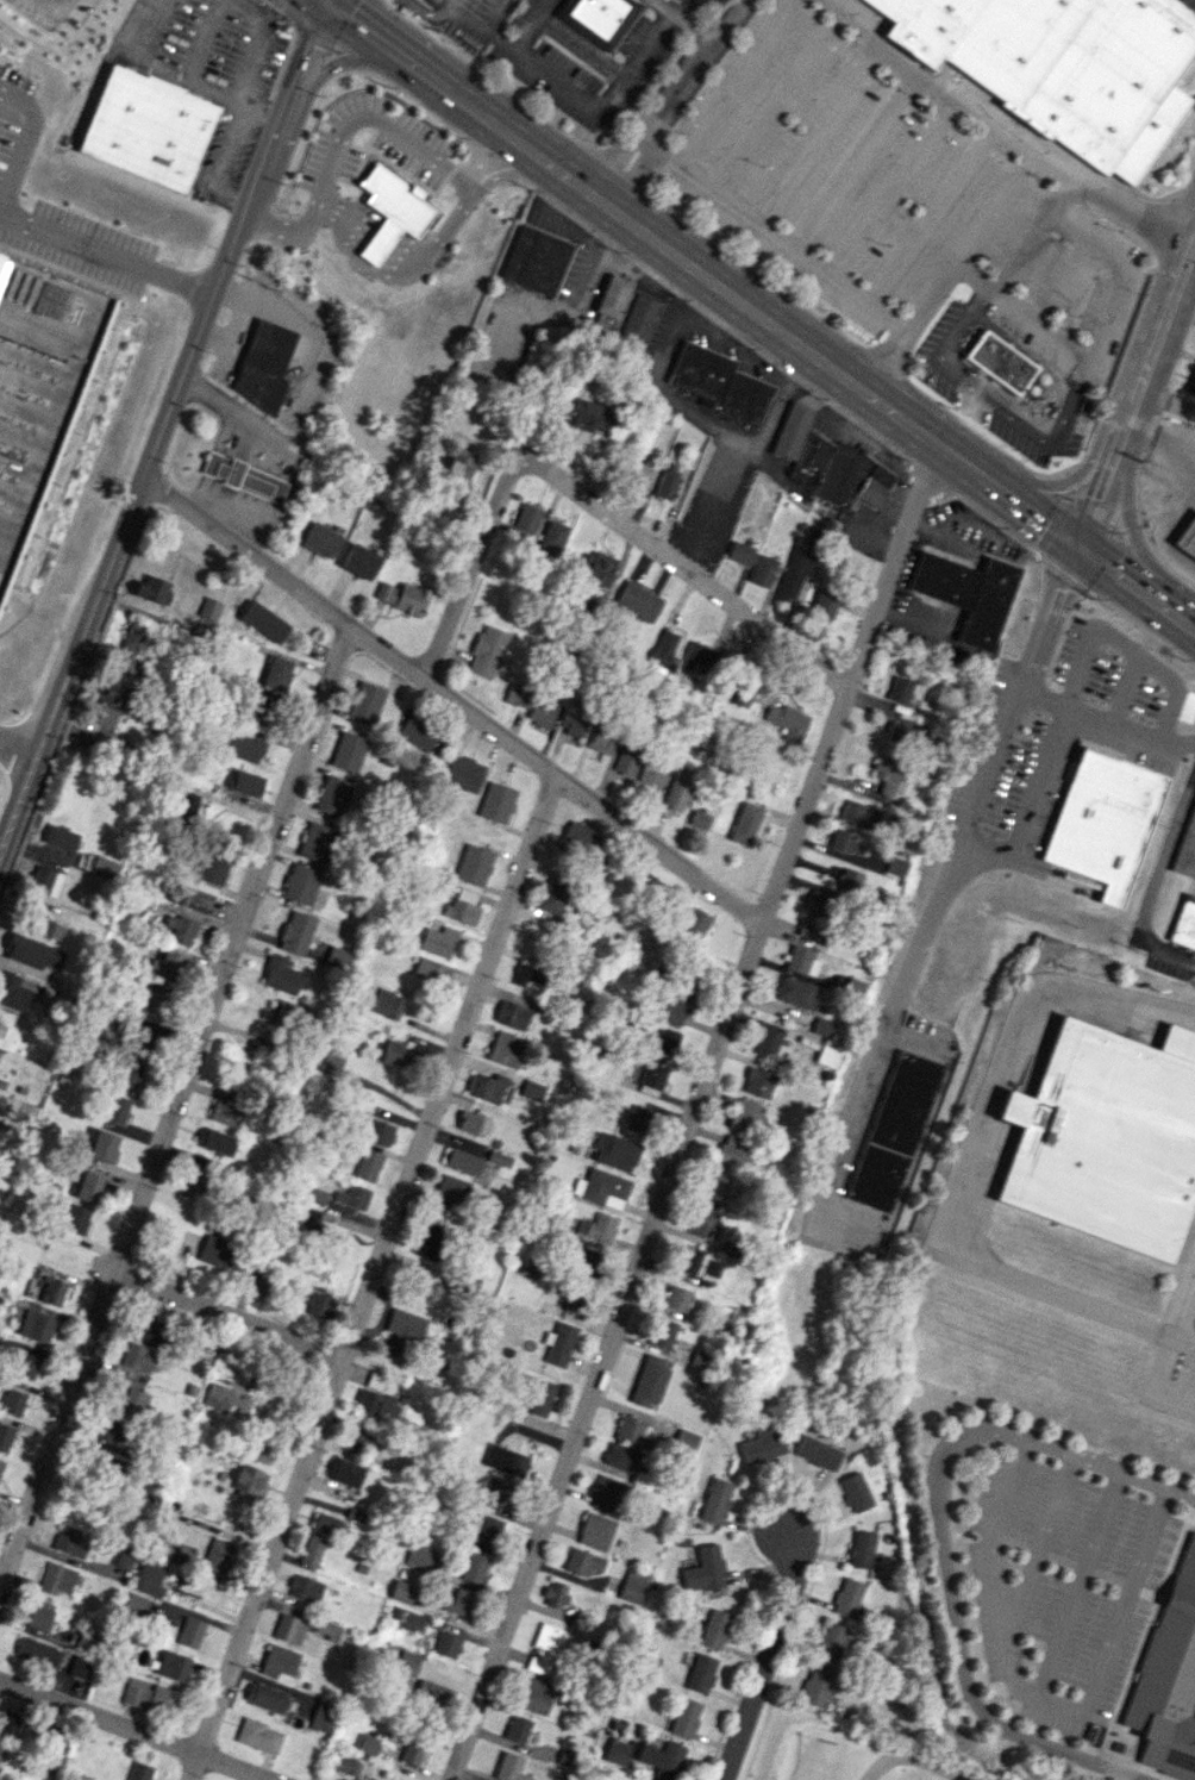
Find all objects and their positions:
road: (324, 1)
road: (50, 4)
road: (684, 10)
road: (498, 13)
road: (430, 14)
building: (599, 17)
road: (534, 23)
road: (680, 23)
road: (387, 30)
parking lot: (576, 45)
road: (257, 46)
road: (581, 46)
road: (337, 64)
road: (158, 65)
building: (1064, 65)
road: (734, 85)
road: (571, 86)
road: (956, 95)
road: (671, 101)
road: (777, 102)
road: (258, 113)
building: (149, 129)
road: (817, 131)
road: (340, 133)
road: (20, 140)
road: (856, 162)
road: (218, 165)
road: (478, 181)
road: (893, 188)
parking lot: (895, 196)
parking lot: (56, 205)
building: (390, 210)
road: (342, 216)
road: (930, 216)
road: (1137, 217)
road: (440, 235)
road: (771, 238)
road: (645, 239)
road: (377, 242)
road: (968, 244)
road: (1019, 245)
building: (1, 258)
road: (106, 258)
building: (537, 260)
building: (1, 264)
road: (1059, 280)
building: (611, 302)
building: (639, 319)
road: (1157, 335)
road: (897, 337)
road: (1090, 351)
building: (1000, 362)
building: (264, 364)
parking lot: (947, 379)
building: (1191, 382)
building: (718, 383)
road: (1165, 399)
road: (1053, 405)
road: (995, 407)
building: (588, 416)
road: (165, 423)
building: (790, 432)
road: (1137, 439)
road: (283, 450)
building: (811, 460)
building: (459, 466)
building: (638, 474)
building: (243, 476)
building: (852, 479)
road: (1055, 482)
building: (665, 485)
road: (1146, 492)
road: (1096, 494)
road: (1024, 514)
building: (526, 517)
building: (552, 535)
building: (1187, 538)
building: (319, 539)
traffic signals: (1075, 551)
building: (739, 552)
building: (359, 561)
building: (596, 567)
road: (465, 570)
road: (686, 570)
building: (762, 570)
building: (795, 573)
building: (150, 589)
building: (966, 593)
road: (1134, 595)
building: (401, 597)
building: (637, 600)
building: (824, 605)
building: (208, 608)
building: (263, 622)
building: (130, 648)
building: (662, 650)
building: (486, 651)
building: (694, 656)
road: (1024, 663)
building: (276, 673)
building: (899, 689)
building: (744, 691)
road: (1070, 693)
building: (113, 694)
building: (518, 695)
road: (452, 699)
building: (365, 701)
building: (261, 708)
building: (542, 711)
building: (787, 720)
building: (573, 723)
building: (417, 733)
building: (903, 733)
road: (1147, 735)
building: (600, 741)
building: (244, 747)
building: (348, 751)
building: (625, 763)
building: (463, 773)
building: (889, 775)
building: (651, 776)
building: (246, 783)
building: (678, 788)
building: (332, 794)
building: (496, 801)
building: (186, 805)
building: (858, 813)
building: (700, 818)
building: (1103, 820)
building: (746, 823)
building: (577, 833)
building: (60, 837)
building: (314, 841)
building: (845, 842)
building: (1187, 847)
building: (474, 863)
building: (896, 866)
building: (212, 867)
building: (833, 870)
building: (44, 880)
building: (849, 880)
building: (300, 883)
building: (174, 892)
building: (552, 898)
building: (819, 903)
building: (462, 906)
building: (693, 919)
building: (1184, 925)
building: (48, 928)
building: (181, 929)
building: (811, 929)
building: (295, 932)
building: (438, 941)
building: (32, 953)
road: (911, 953)
building: (337, 957)
building: (801, 961)
building: (165, 966)
building: (431, 969)
building: (280, 974)
building: (528, 975)
building: (13, 991)
building: (795, 992)
building: (150, 1001)
building: (387, 1004)
building: (674, 1005)
building: (511, 1014)
building: (287, 1016)
building: (821, 1026)
building: (142, 1037)
building: (665, 1041)
building: (767, 1043)
building: (505, 1049)
building: (399, 1054)
building: (330, 1061)
building: (129, 1073)
building: (651, 1078)
building: (758, 1082)
building: (489, 1087)
building: (532, 1089)
road: (174, 1106)
building: (115, 1108)
building: (226, 1108)
building: (630, 1110)
road: (689, 1113)
building: (745, 1116)
building: (474, 1123)
building: (894, 1130)
building: (377, 1131)
building: (1106, 1137)
building: (215, 1141)
building: (102, 1145)
building: (614, 1151)
building: (733, 1151)
building: (499, 1157)
building: (463, 1161)
building: (368, 1164)
road: (964, 1170)
building: (195, 1185)
building: (717, 1185)
building: (87, 1186)
building: (601, 1188)
building: (449, 1191)
building: (315, 1194)
building: (352, 1197)
building: (75, 1218)
building: (309, 1220)
building: (705, 1223)
building: (601, 1226)
building: (425, 1244)
building: (217, 1250)
building: (688, 1259)
building: (586, 1261)
road: (371, 1278)
building: (469, 1284)
building: (259, 1285)
building: (52, 1291)
building: (676, 1298)
building: (574, 1303)
building: (318, 1304)
road: (227, 1316)
building: (38, 1328)
building: (148, 1329)
building: (402, 1332)
building: (662, 1332)
building: (558, 1343)
building: (137, 1357)
building: (25, 1364)
building: (375, 1380)
building: (649, 1380)
building: (540, 1395)
building: (12, 1401)
building: (132, 1401)
building: (376, 1405)
building: (110, 1430)
building: (632, 1431)
building: (5, 1436)
building: (686, 1439)
building: (356, 1443)
building: (762, 1443)
building: (262, 1450)
building: (818, 1453)
building: (620, 1457)
building: (505, 1460)
road: (1112, 1463)
building: (344, 1470)
building: (249, 1480)
building: (856, 1492)
building: (500, 1493)
building: (607, 1493)
building: (715, 1500)
building: (324, 1523)
building: (484, 1530)
building: (595, 1531)
building: (68, 1541)
building: (863, 1548)
building: (312, 1550)
building: (419, 1555)
building: (217, 1556)
building: (124, 1557)
building: (582, 1562)
building: (474, 1567)
building: (705, 1569)
building: (56, 1578)
building: (148, 1578)
building: (632, 1586)
building: (304, 1588)
building: (402, 1591)
building: (553, 1594)
building: (850, 1597)
building: (459, 1601)
building: (136, 1604)
building: (37, 1616)
road: (953, 1619)
building: (412, 1620)
building: (288, 1629)
building: (327, 1629)
building: (714, 1629)
building: (190, 1631)
building: (832, 1642)
building: (446, 1644)
building: (546, 1648)
building: (38, 1651)
road: (770, 1653)
building: (279, 1660)
building: (407, 1662)
building: (173, 1665)
building: (81, 1667)
building: (700, 1673)
building: (1170, 1679)
building: (815, 1686)
building: (434, 1695)
building: (534, 1695)
building: (149, 1697)
building: (267, 1698)
building: (323, 1716)
building: (684, 1717)
building: (8, 1722)
building: (517, 1728)
road: (131, 1730)
building: (258, 1735)
building: (365, 1744)
building: (412, 1751)
building: (662, 1759)
road: (916, 1759)
building: (350, 1766)
building: (509, 1768)
building: (139, 1770)

